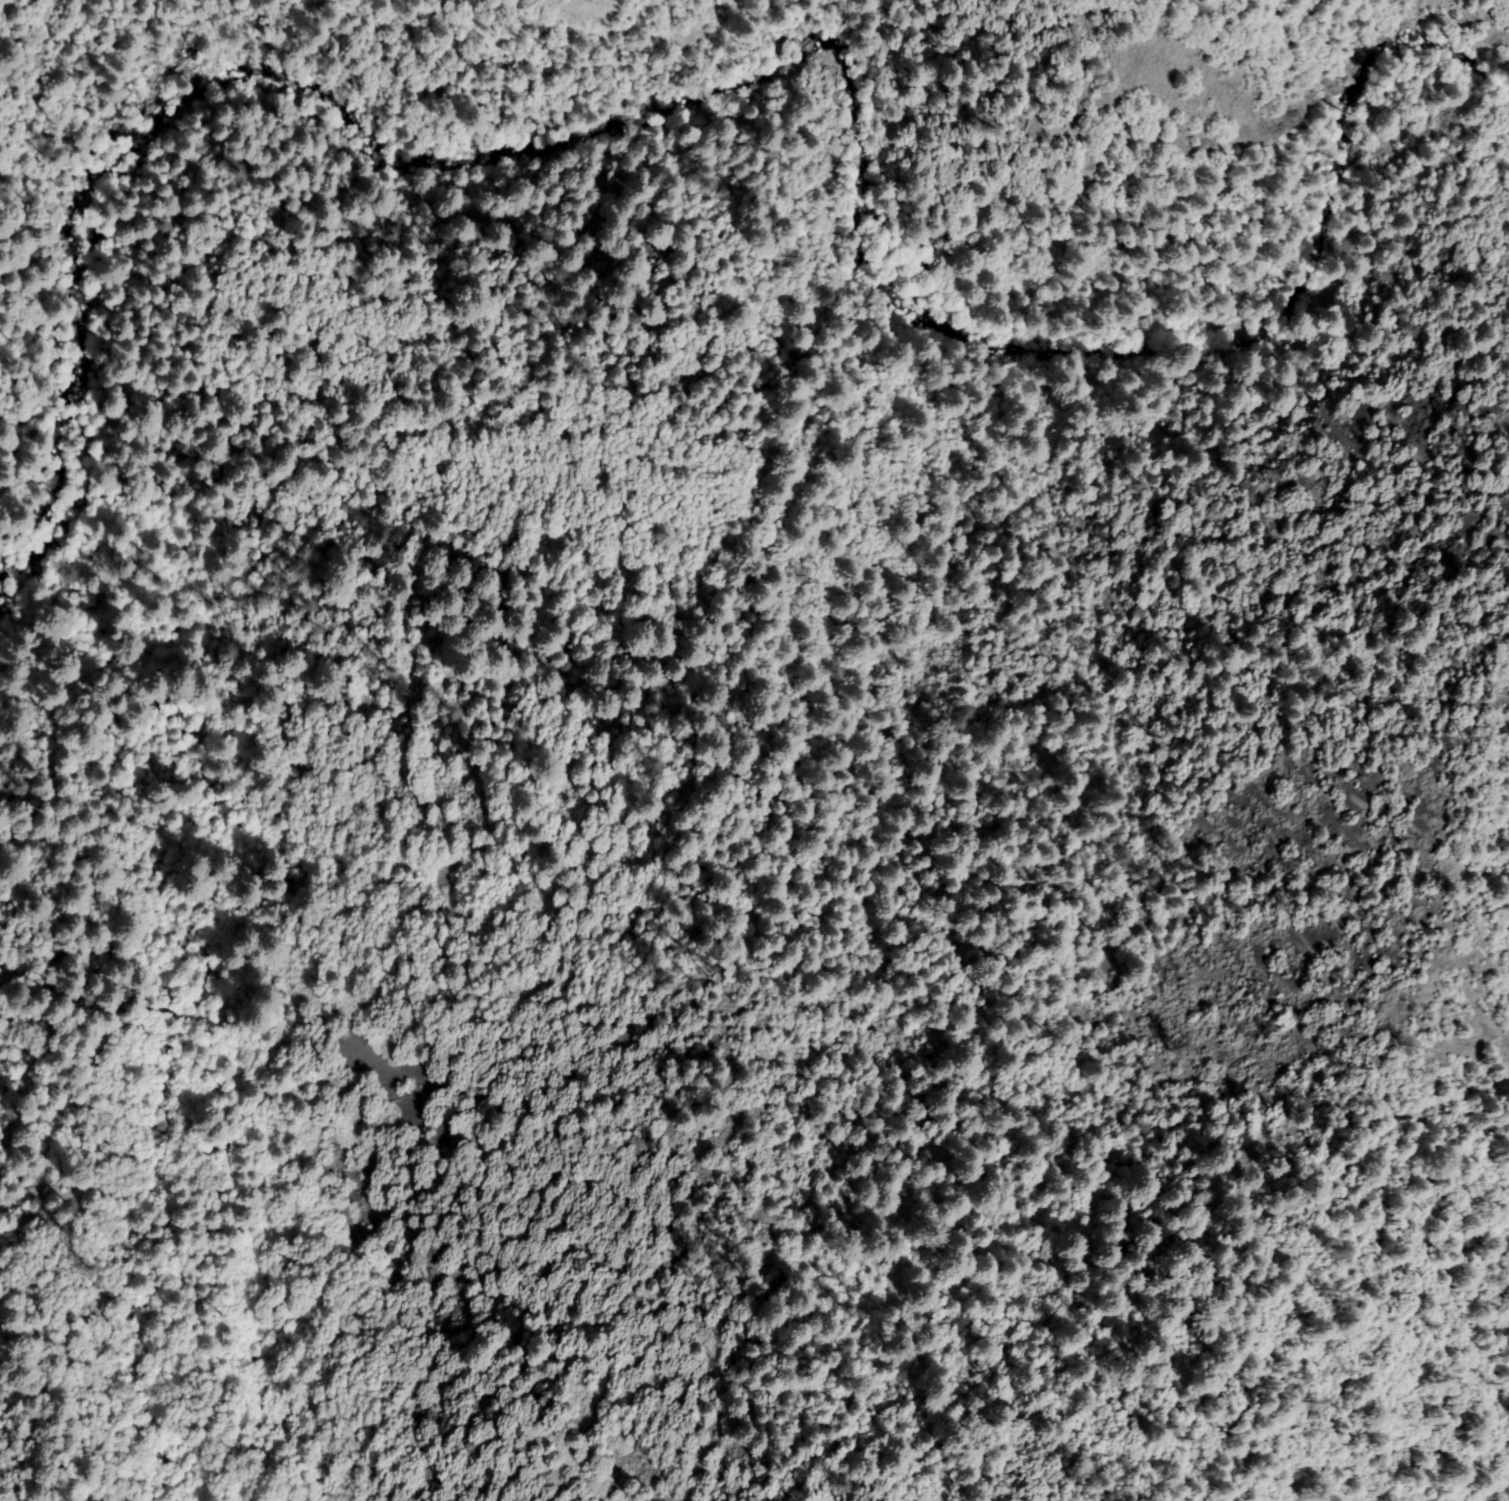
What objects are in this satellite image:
river: (746, 98)

